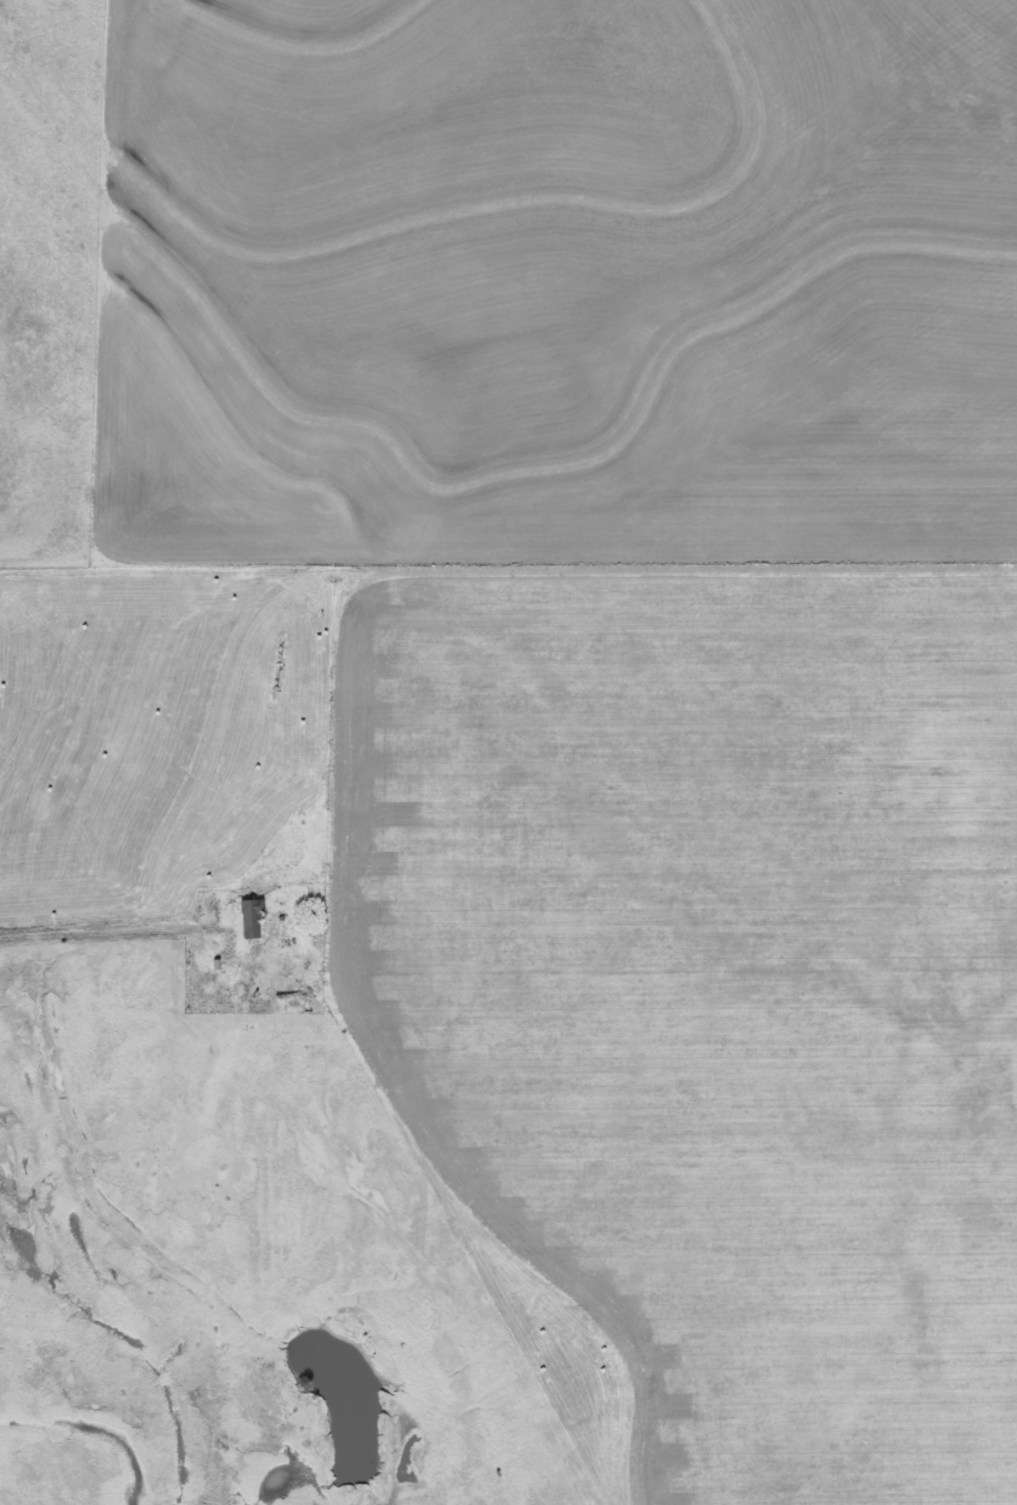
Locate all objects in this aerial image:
building: (250, 919)
road: (75, 947)

